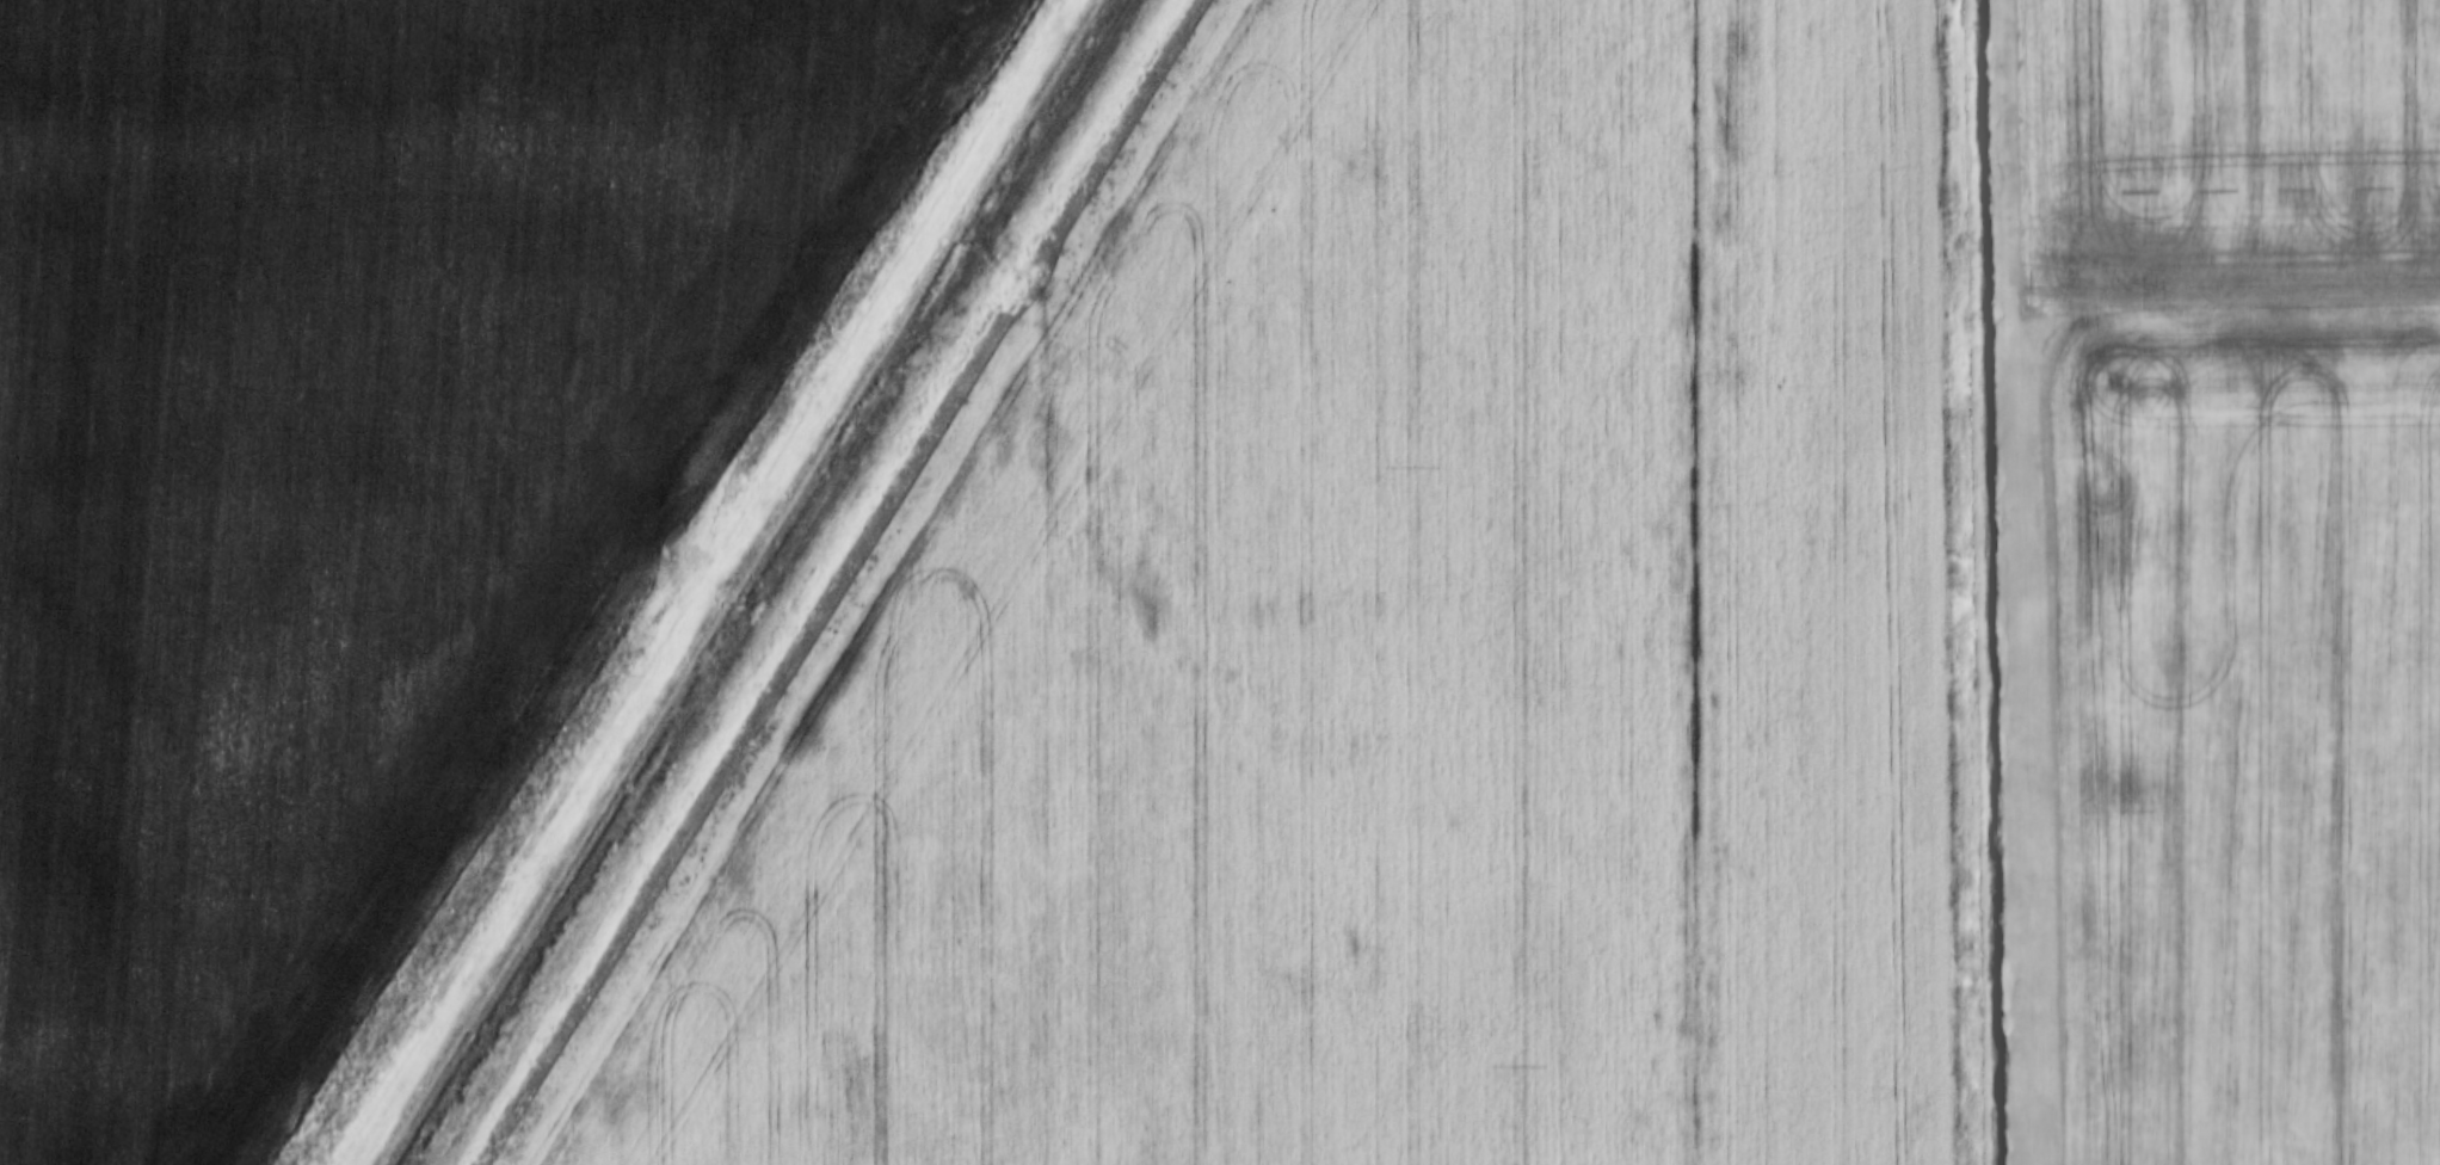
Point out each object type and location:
road: (1964, 582)

